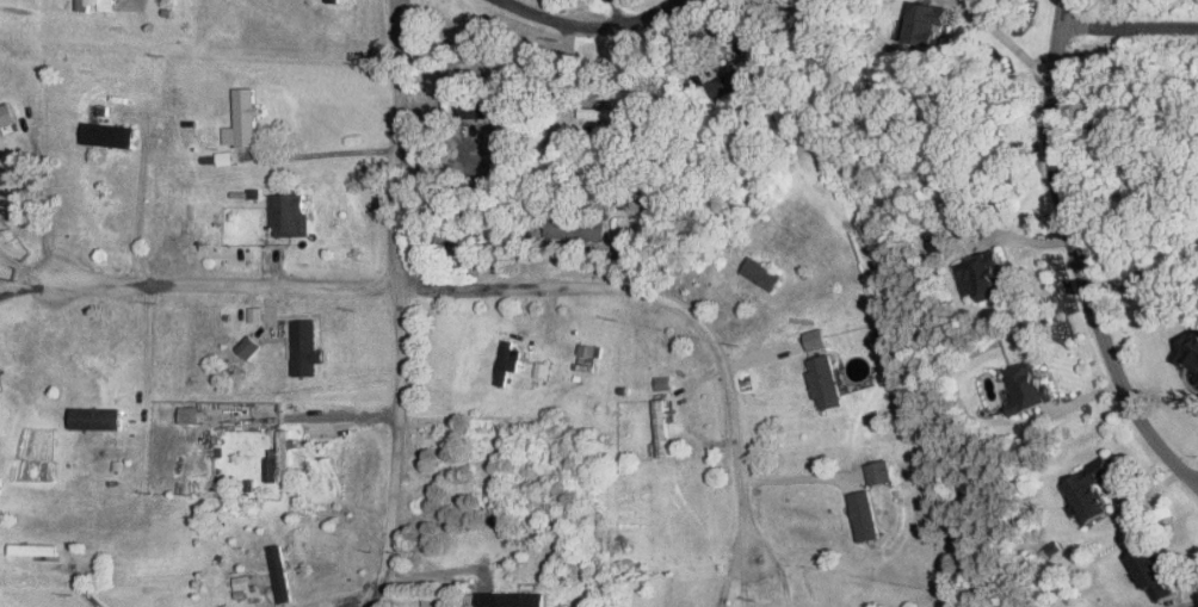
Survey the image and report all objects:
road: (130, 1)
building: (106, 5)
road: (617, 12)
building: (928, 23)
road: (588, 26)
road: (1129, 27)
road: (1008, 41)
building: (727, 81)
building: (477, 106)
building: (7, 114)
building: (242, 116)
building: (109, 132)
road: (396, 142)
road: (463, 144)
road: (320, 154)
road: (138, 192)
building: (290, 212)
building: (578, 224)
road: (1076, 256)
road: (25, 267)
building: (762, 271)
building: (983, 274)
road: (224, 281)
road: (668, 304)
building: (816, 337)
road: (147, 342)
building: (248, 345)
building: (307, 346)
building: (1190, 347)
building: (587, 354)
building: (508, 359)
building: (1197, 376)
building: (825, 380)
building: (662, 382)
building: (1027, 385)
building: (190, 413)
road: (345, 415)
building: (97, 416)
road: (395, 447)
building: (280, 457)
building: (881, 470)
road: (798, 477)
building: (1091, 489)
building: (33, 547)
building: (280, 571)
road: (779, 571)
building: (1154, 572)
road: (431, 574)
road: (728, 575)
road: (743, 578)
road: (80, 581)
building: (242, 581)
building: (431, 599)
building: (511, 599)

